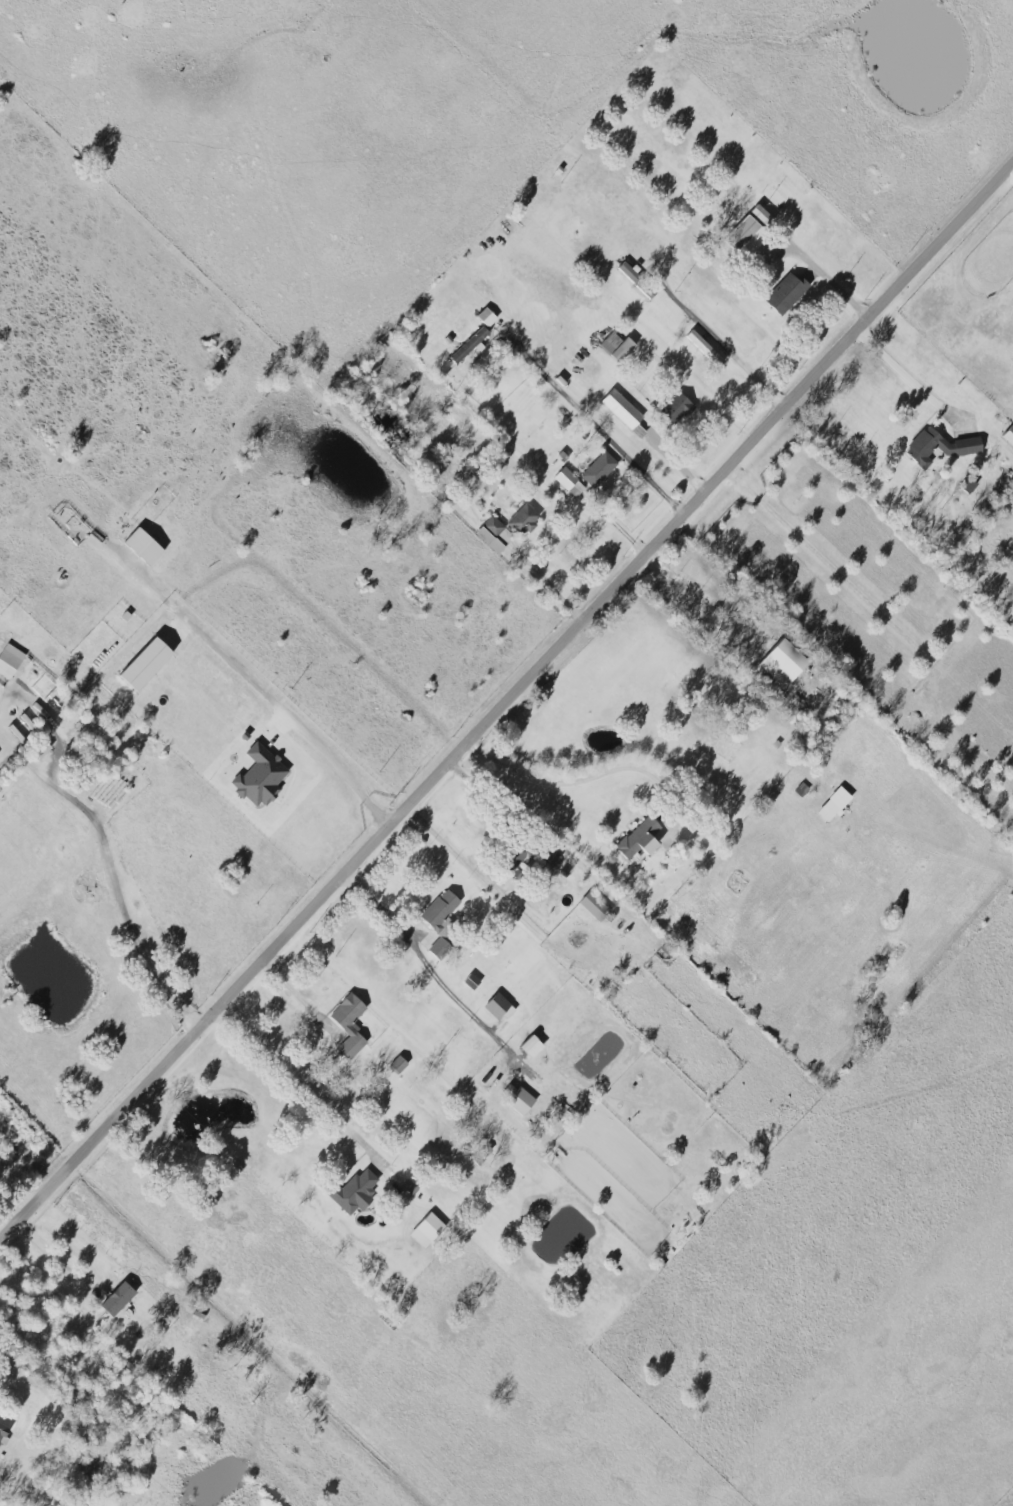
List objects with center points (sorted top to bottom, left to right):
building: (762, 214)
building: (748, 234)
road: (830, 277)
building: (637, 280)
building: (786, 293)
building: (487, 317)
road: (723, 341)
building: (703, 345)
building: (469, 346)
building: (617, 346)
road: (907, 370)
building: (677, 408)
building: (622, 409)
road: (596, 427)
building: (1009, 435)
building: (941, 446)
road: (673, 461)
building: (599, 469)
building: (569, 482)
building: (524, 519)
building: (495, 534)
building: (144, 546)
road: (548, 582)
road: (696, 595)
building: (10, 660)
building: (784, 662)
building: (146, 663)
building: (38, 677)
road: (505, 702)
road: (293, 722)
building: (42, 750)
road: (561, 781)
building: (801, 789)
building: (828, 811)
building: (641, 838)
building: (518, 857)
building: (551, 857)
road: (483, 881)
building: (595, 906)
building: (441, 921)
road: (425, 955)
building: (472, 982)
road: (297, 998)
building: (499, 1007)
road: (193, 1012)
building: (349, 1024)
building: (399, 1064)
building: (518, 1098)
road: (22, 1171)
building: (410, 1186)
building: (355, 1192)
road: (10, 1209)
building: (428, 1230)
road: (51, 1258)
building: (110, 1301)
building: (2, 1433)

